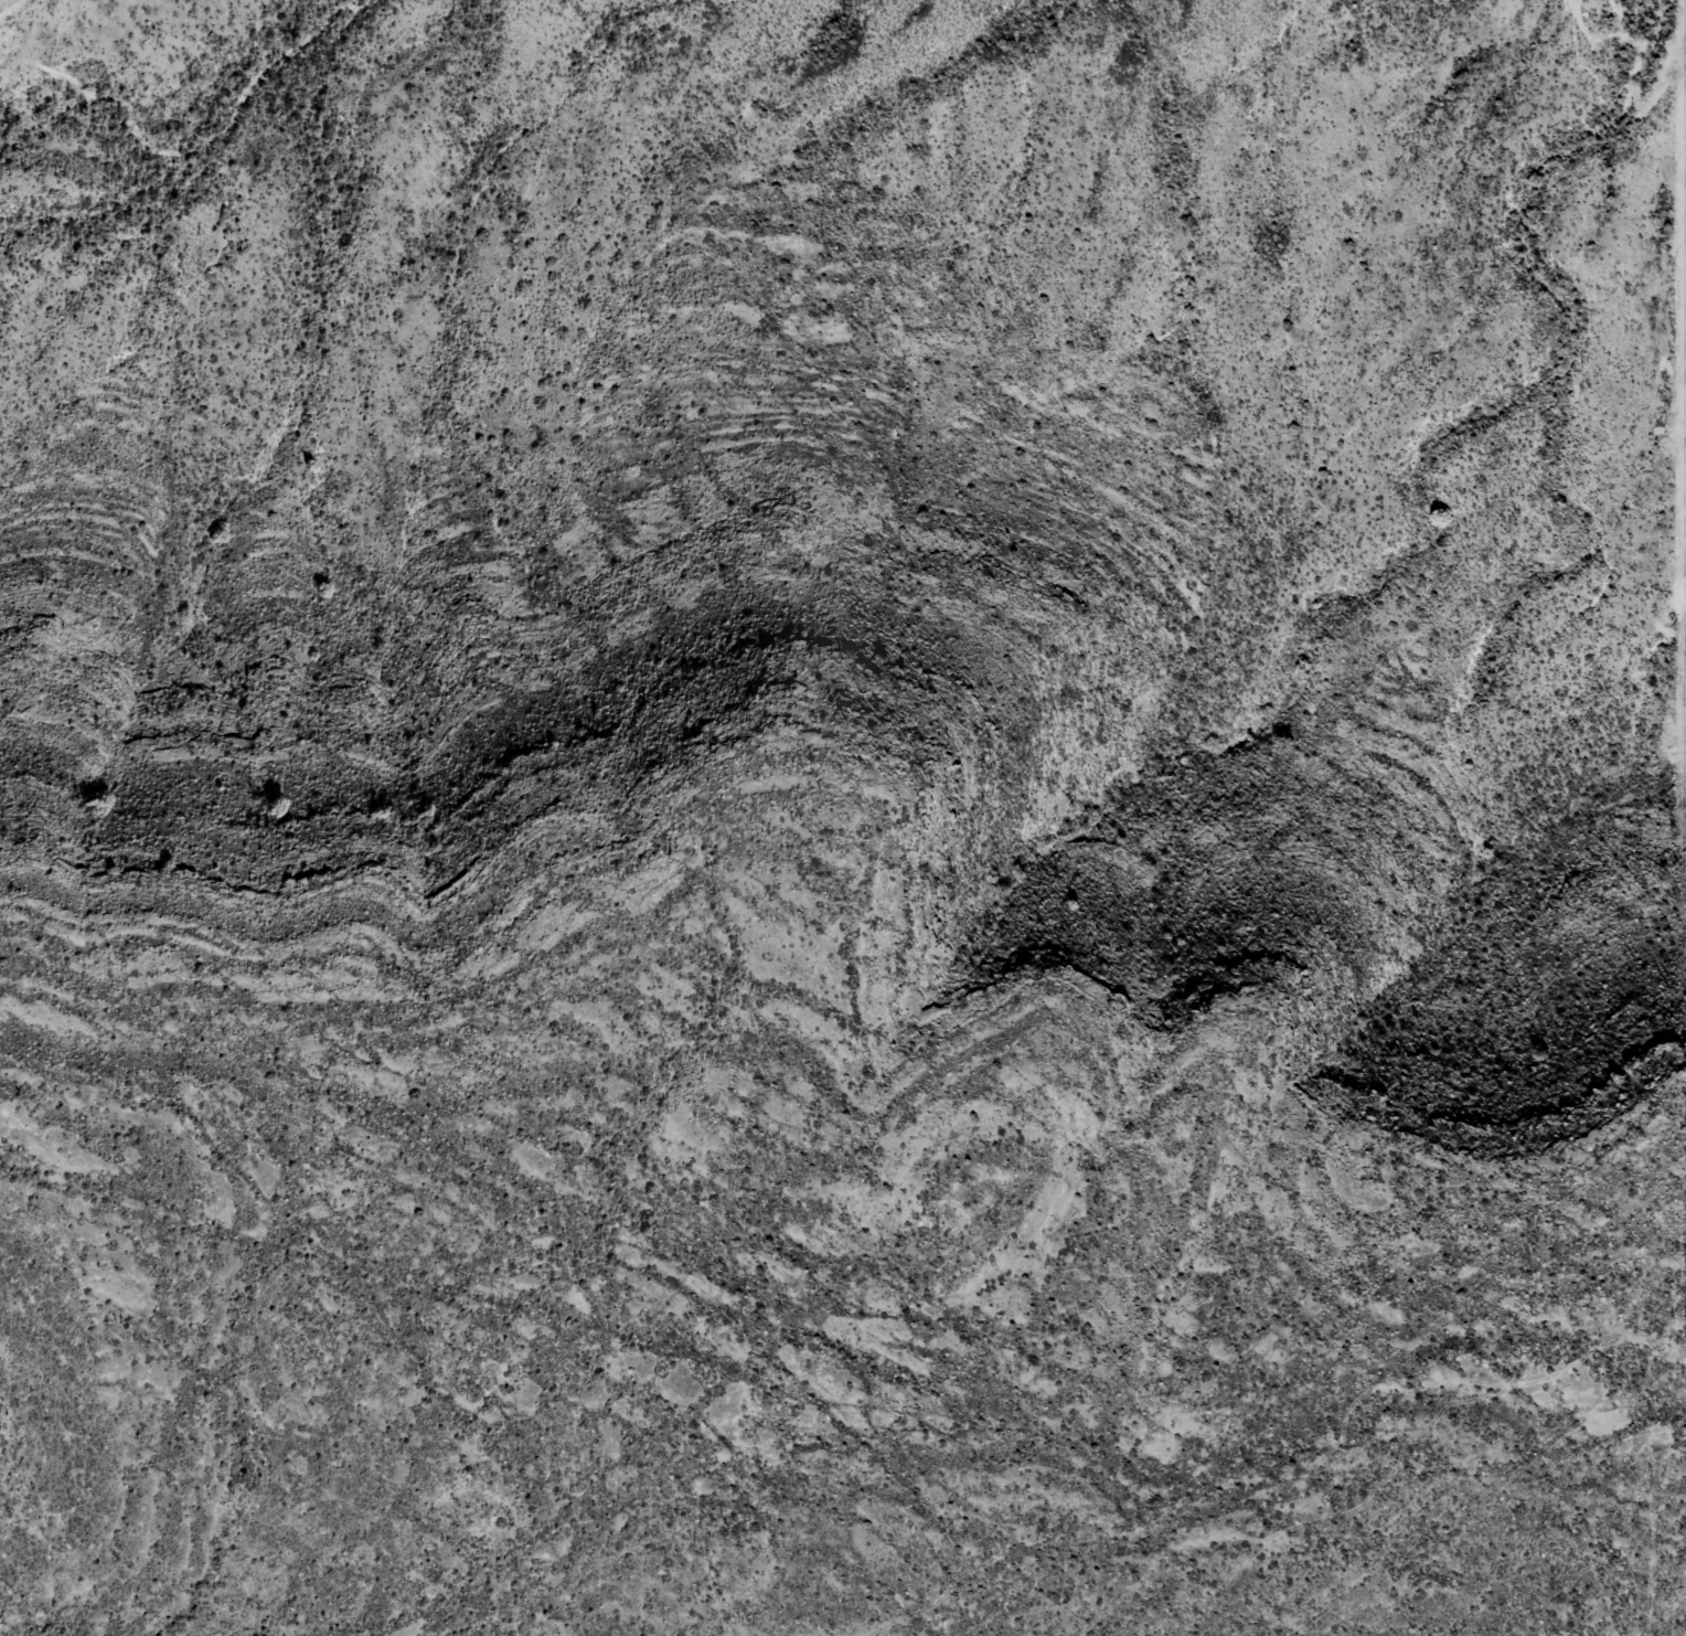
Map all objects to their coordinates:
road: (1406, 1438)

